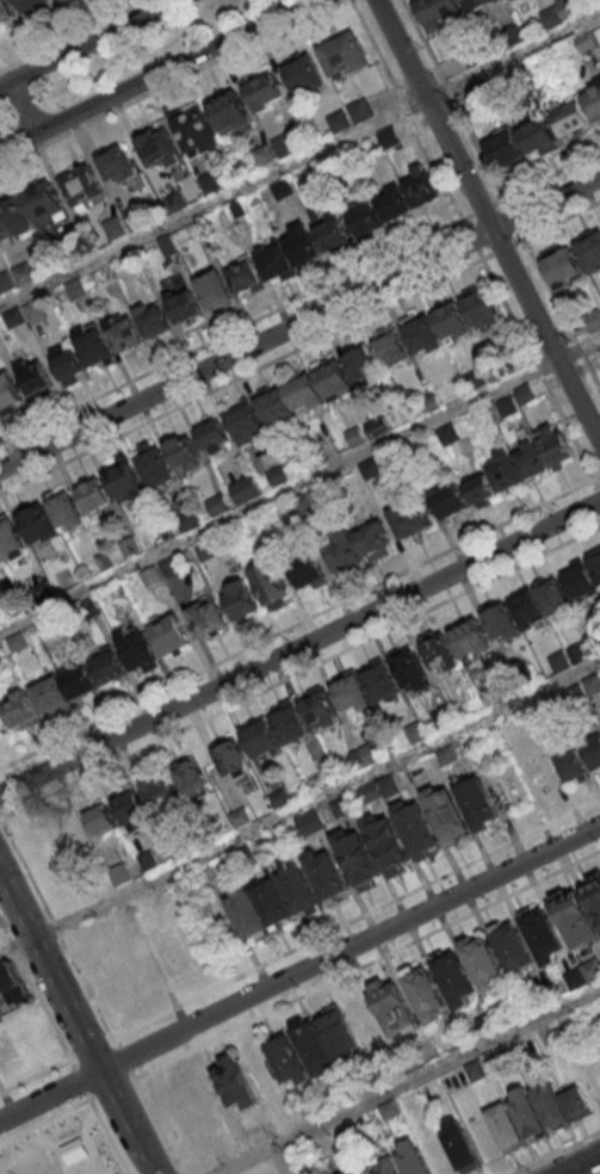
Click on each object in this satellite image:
building: (31, 4)
building: (477, 4)
building: (7, 12)
building: (439, 12)
road: (70, 33)
road: (86, 42)
building: (345, 52)
road: (512, 56)
building: (304, 73)
road: (153, 75)
road: (171, 81)
building: (264, 88)
building: (594, 101)
road: (24, 103)
building: (229, 110)
building: (570, 116)
building: (539, 137)
building: (159, 144)
road: (477, 147)
building: (505, 149)
building: (117, 163)
building: (81, 184)
building: (44, 200)
building: (395, 200)
road: (212, 203)
road: (483, 210)
building: (14, 217)
road: (514, 218)
road: (487, 223)
building: (332, 231)
road: (472, 240)
road: (503, 248)
building: (589, 249)
building: (289, 253)
building: (564, 266)
building: (25, 272)
building: (245, 277)
road: (543, 277)
road: (342, 278)
building: (215, 290)
building: (184, 305)
building: (482, 305)
building: (154, 320)
building: (452, 320)
road: (299, 322)
building: (124, 332)
building: (422, 334)
building: (94, 346)
building: (391, 348)
road: (577, 348)
building: (69, 364)
building: (361, 364)
building: (36, 377)
building: (334, 377)
building: (305, 391)
building: (8, 393)
building: (274, 407)
building: (245, 421)
building: (215, 437)
building: (183, 451)
road: (583, 458)
building: (522, 463)
building: (154, 465)
road: (32, 476)
road: (598, 478)
building: (125, 480)
road: (598, 484)
building: (246, 488)
road: (278, 495)
building: (97, 496)
building: (450, 499)
building: (409, 519)
building: (37, 521)
building: (252, 527)
building: (10, 538)
building: (359, 545)
building: (594, 562)
building: (308, 570)
building: (160, 573)
building: (579, 579)
building: (271, 585)
building: (240, 599)
building: (539, 600)
building: (208, 617)
building: (501, 622)
building: (168, 632)
building: (471, 638)
road: (299, 645)
building: (137, 649)
building: (441, 653)
building: (109, 666)
building: (409, 668)
road: (299, 671)
building: (80, 681)
building: (365, 686)
building: (50, 694)
building: (19, 708)
building: (320, 709)
building: (289, 722)
building: (261, 739)
building: (593, 750)
building: (230, 756)
building: (571, 765)
building: (193, 779)
building: (161, 793)
road: (315, 798)
building: (477, 801)
building: (132, 809)
building: (445, 811)
building: (99, 816)
building: (309, 821)
building: (416, 828)
building: (388, 842)
building: (358, 857)
building: (120, 873)
building: (327, 875)
building: (298, 889)
building: (594, 895)
building: (575, 916)
road: (355, 919)
road: (56, 926)
building: (542, 933)
road: (16, 946)
building: (513, 947)
building: (484, 962)
road: (367, 964)
road: (299, 971)
building: (456, 976)
building: (13, 987)
road: (35, 987)
building: (425, 991)
building: (392, 1007)
road: (75, 1025)
building: (313, 1044)
road: (91, 1048)
road: (122, 1057)
road: (35, 1075)
road: (78, 1080)
road: (409, 1081)
building: (235, 1083)
road: (111, 1089)
building: (549, 1102)
building: (576, 1102)
road: (81, 1104)
road: (86, 1111)
building: (527, 1112)
road: (75, 1124)
building: (505, 1125)
road: (156, 1126)
building: (192, 1127)
building: (460, 1144)
park: (62, 1148)
road: (555, 1151)
road: (76, 1153)
building: (412, 1158)
road: (278, 1161)
road: (577, 1163)
building: (389, 1166)
building: (58, 1170)
building: (347, 1173)

